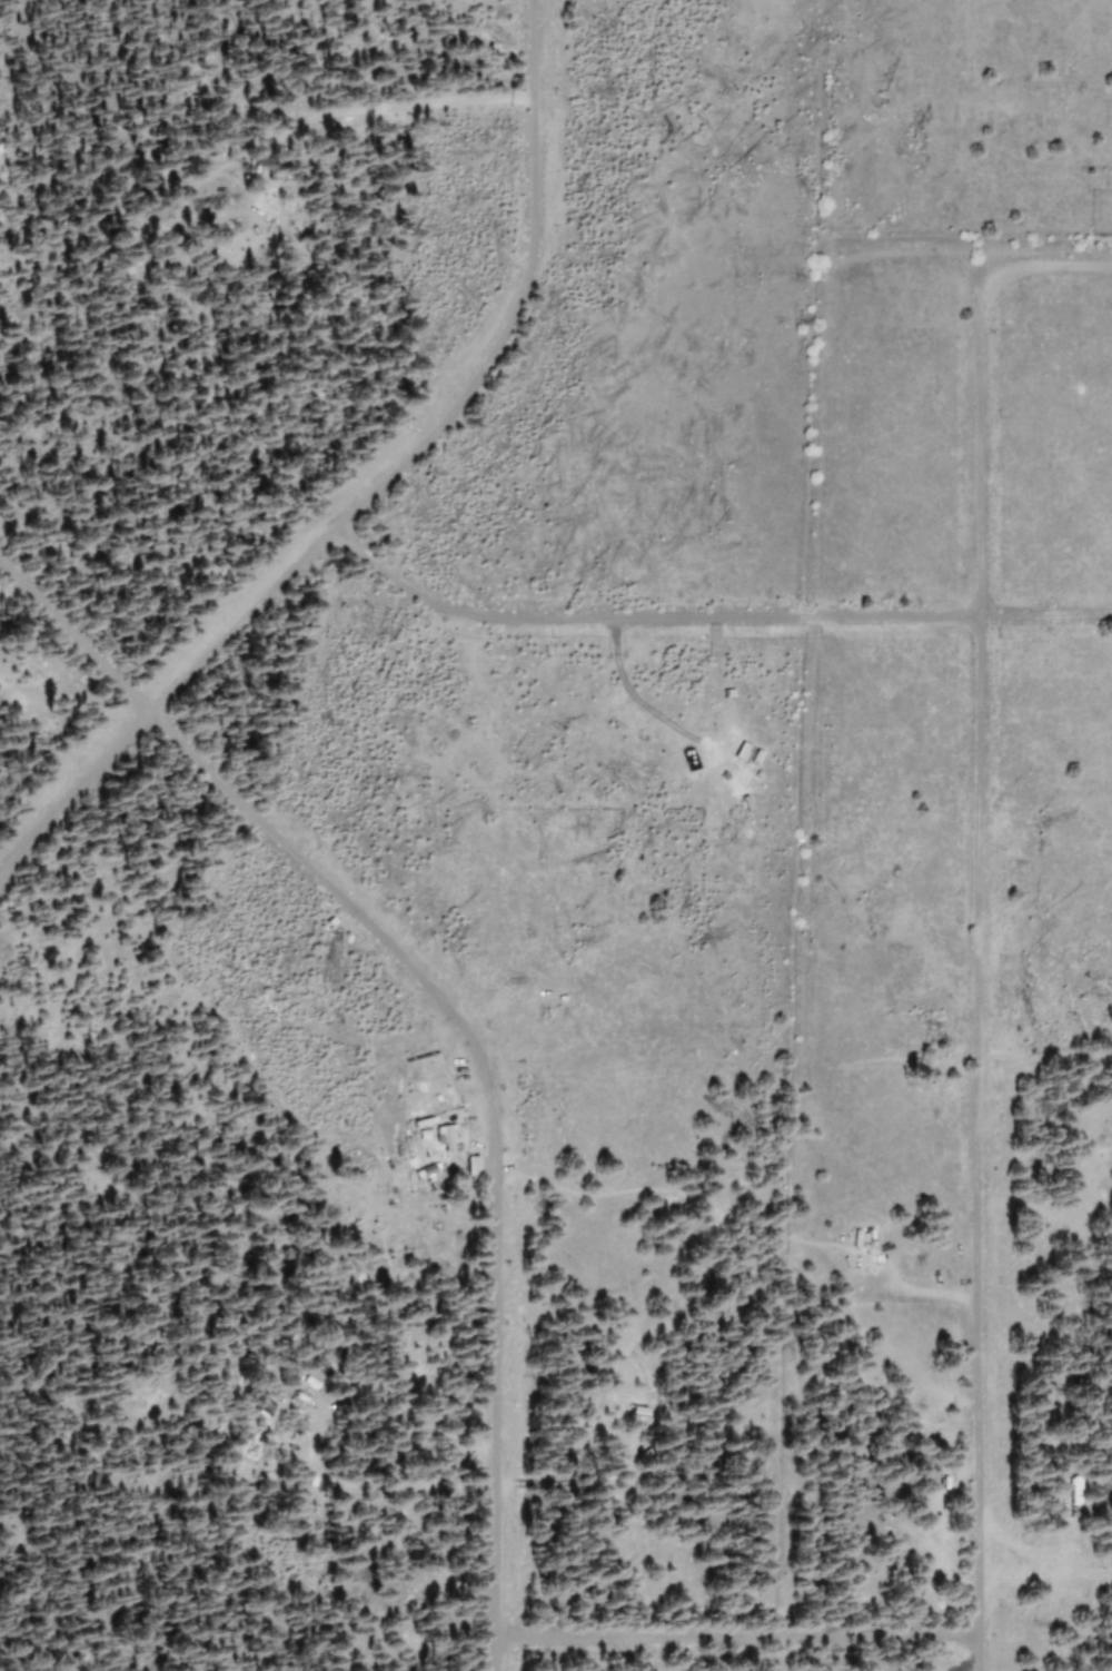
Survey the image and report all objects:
road: (378, 486)
road: (709, 615)
road: (975, 962)
road: (458, 1028)
building: (444, 1136)
road: (733, 1635)

